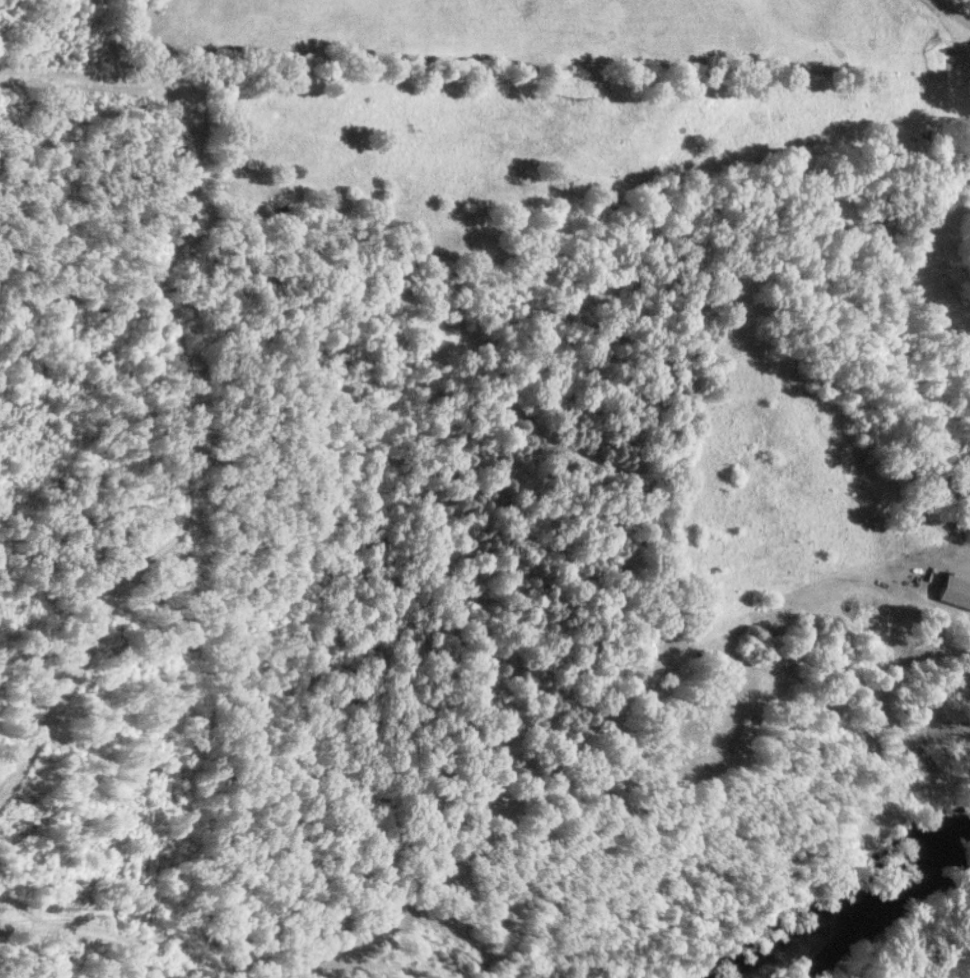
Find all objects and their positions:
road: (952, 10)
building: (954, 592)
river: (841, 896)

